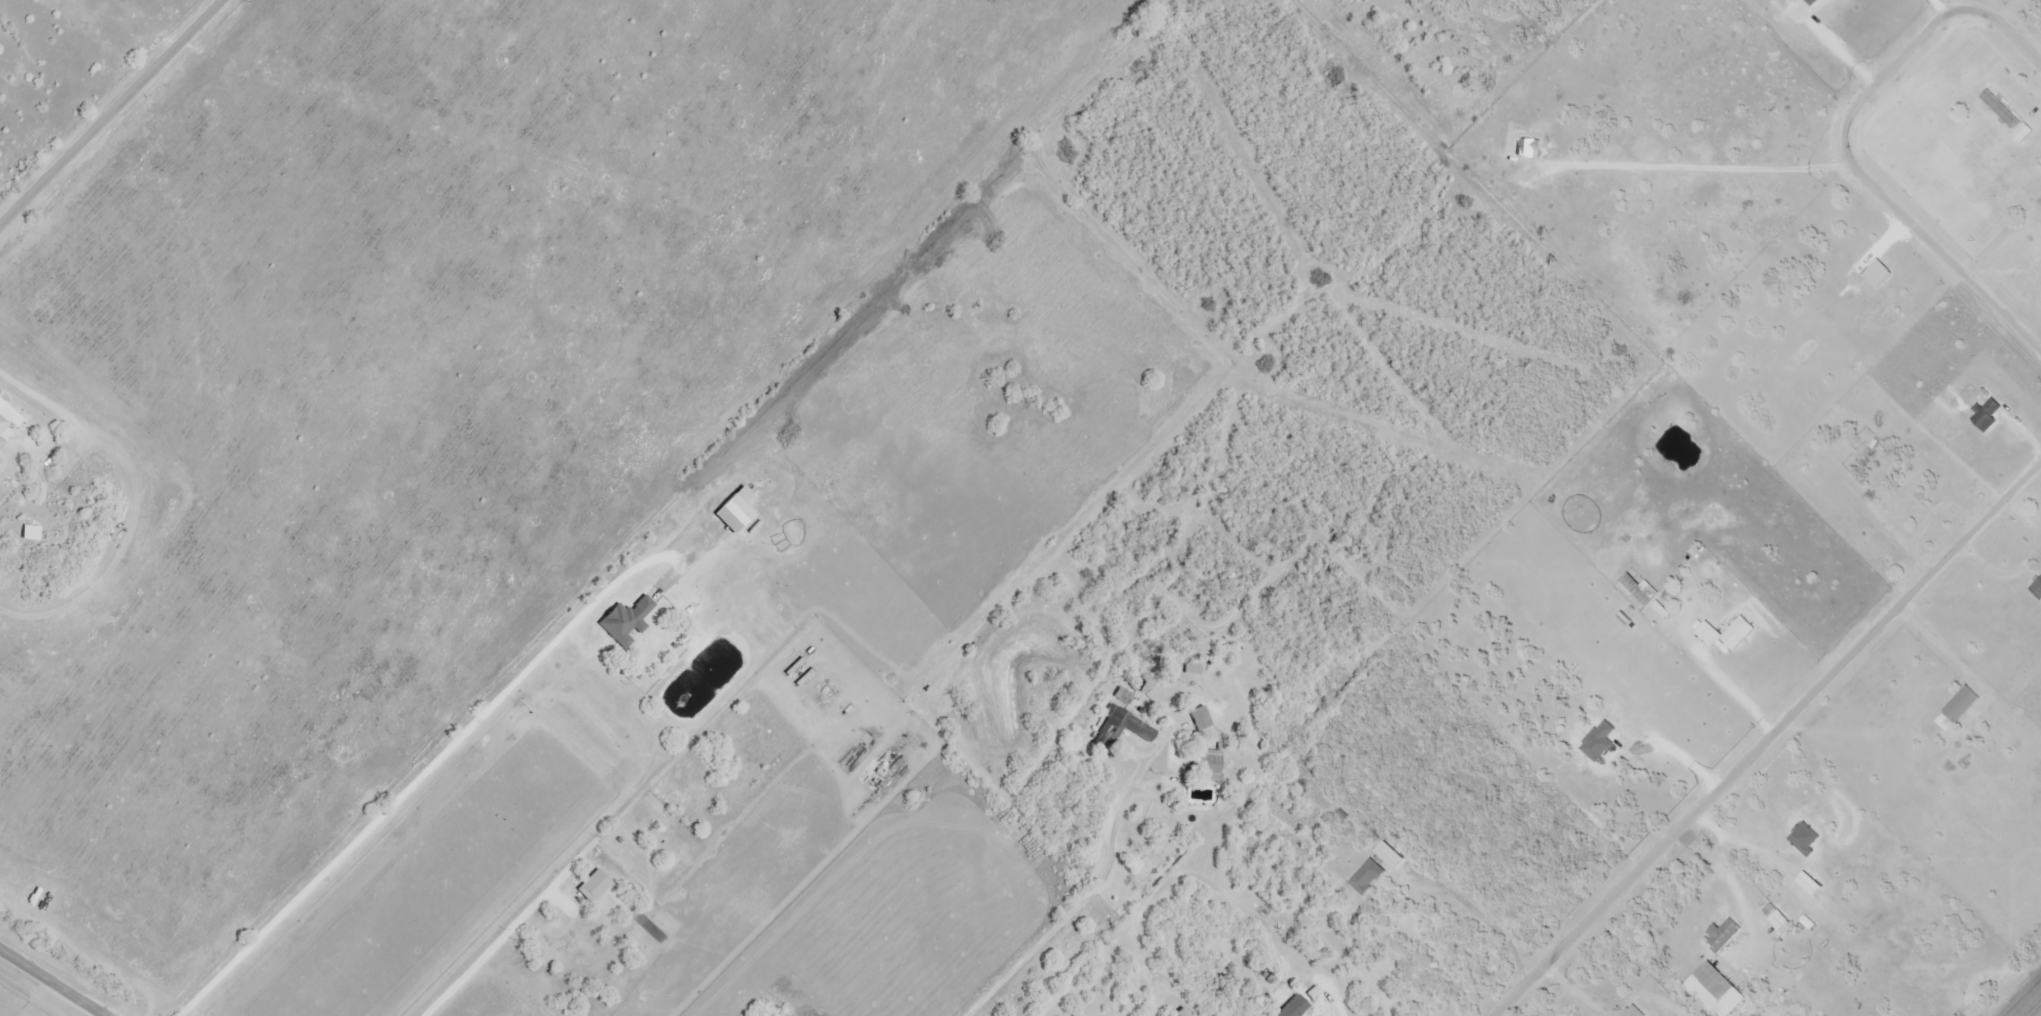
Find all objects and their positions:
road: (107, 107)
building: (2002, 109)
building: (2024, 133)
road: (1843, 144)
building: (1988, 415)
building: (6, 419)
building: (736, 510)
building: (1639, 588)
building: (627, 621)
building: (1739, 633)
building: (1963, 705)
building: (1201, 718)
road: (1766, 739)
building: (1205, 761)
road: (1132, 892)
building: (1361, 892)
building: (1778, 918)
building: (1724, 935)
building: (1875, 956)
road: (1155, 957)
road: (57, 979)
building: (1720, 994)
building: (1294, 1008)

